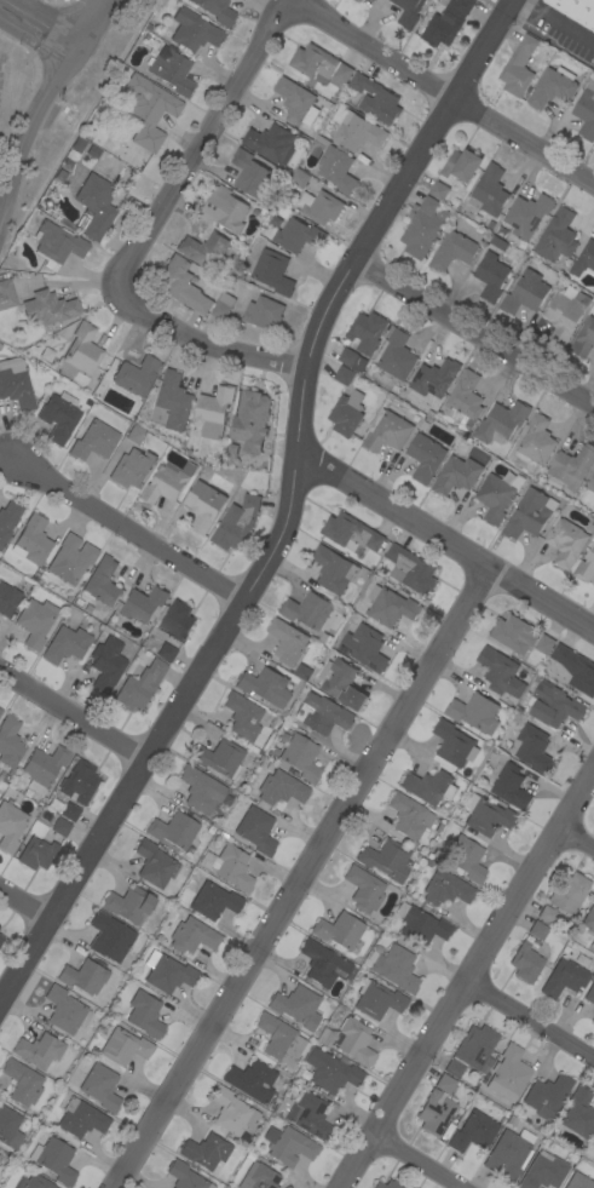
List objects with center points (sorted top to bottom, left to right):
building: (357, 0)
building: (576, 10)
building: (217, 11)
building: (408, 12)
road: (559, 21)
building: (445, 23)
road: (36, 25)
building: (194, 30)
building: (318, 64)
building: (518, 67)
building: (172, 71)
building: (552, 87)
road: (443, 92)
building: (375, 99)
building: (295, 101)
road: (41, 102)
building: (154, 102)
building: (586, 111)
building: (357, 132)
road: (198, 142)
building: (271, 143)
building: (75, 149)
building: (93, 151)
building: (336, 168)
building: (460, 168)
building: (249, 173)
building: (299, 178)
building: (438, 190)
building: (489, 191)
building: (94, 206)
building: (318, 206)
building: (224, 210)
building: (526, 214)
building: (421, 228)
building: (298, 235)
building: (556, 236)
building: (497, 242)
building: (57, 245)
building: (204, 249)
building: (452, 251)
building: (583, 259)
building: (272, 271)
building: (490, 276)
building: (184, 285)
building: (567, 289)
building: (525, 293)
building: (6, 294)
building: (221, 306)
building: (50, 308)
building: (263, 312)
building: (563, 317)
building: (367, 332)
road: (473, 333)
building: (583, 338)
road: (202, 340)
building: (0, 345)
building: (81, 351)
building: (397, 356)
building: (347, 357)
building: (137, 375)
building: (344, 375)
building: (434, 378)
building: (16, 384)
building: (463, 398)
building: (172, 402)
building: (213, 412)
building: (346, 413)
building: (59, 417)
building: (250, 420)
building: (501, 423)
building: (386, 431)
building: (135, 435)
building: (94, 441)
building: (536, 441)
building: (425, 457)
building: (572, 467)
building: (131, 469)
building: (456, 475)
building: (166, 483)
building: (590, 484)
building: (494, 498)
building: (593, 500)
building: (203, 505)
road: (286, 510)
building: (529, 513)
building: (8, 520)
building: (236, 523)
road: (126, 529)
building: (351, 533)
road: (444, 540)
building: (33, 541)
building: (565, 543)
building: (71, 559)
building: (584, 568)
building: (333, 569)
building: (410, 569)
building: (103, 582)
building: (7, 599)
building: (143, 604)
building: (385, 607)
building: (307, 610)
building: (178, 620)
building: (35, 622)
building: (514, 633)
building: (287, 642)
building: (67, 644)
building: (544, 644)
building: (364, 648)
building: (166, 653)
building: (106, 664)
building: (576, 668)
building: (302, 672)
building: (501, 672)
building: (341, 683)
building: (140, 685)
building: (265, 687)
building: (553, 705)
building: (0, 710)
building: (474, 712)
road: (71, 713)
building: (322, 714)
building: (242, 717)
building: (10, 744)
building: (454, 745)
building: (531, 748)
building: (220, 758)
building: (301, 758)
building: (44, 768)
building: (79, 781)
building: (511, 786)
building: (428, 787)
building: (282, 788)
building: (201, 790)
building: (70, 811)
building: (488, 816)
building: (408, 820)
building: (10, 826)
building: (60, 827)
building: (174, 830)
building: (256, 831)
road: (577, 838)
building: (38, 854)
building: (467, 859)
building: (386, 860)
building: (155, 865)
building: (232, 868)
road: (298, 877)
building: (364, 889)
building: (446, 889)
building: (569, 891)
building: (212, 899)
road: (24, 902)
building: (129, 903)
building: (547, 914)
building: (589, 919)
building: (420, 925)
building: (339, 930)
building: (538, 930)
building: (192, 936)
building: (110, 937)
building: (1, 939)
building: (526, 963)
building: (323, 964)
building: (396, 968)
building: (168, 972)
building: (83, 974)
building: (564, 978)
road: (468, 980)
building: (589, 994)
building: (379, 1000)
building: (298, 1006)
building: (65, 1010)
building: (145, 1015)
road: (531, 1020)
building: (592, 1020)
building: (282, 1040)
building: (350, 1040)
building: (123, 1046)
building: (39, 1050)
building: (472, 1052)
building: (331, 1073)
building: (509, 1074)
building: (252, 1081)
building: (22, 1083)
building: (445, 1084)
building: (100, 1087)
building: (547, 1096)
building: (232, 1112)
building: (434, 1113)
building: (579, 1113)
building: (306, 1114)
building: (80, 1118)
building: (512, 1121)
building: (10, 1129)
building: (473, 1132)
building: (65, 1137)
building: (593, 1142)
building: (289, 1146)
building: (206, 1152)
building: (508, 1155)
building: (54, 1160)
road: (419, 1161)
building: (543, 1172)
building: (185, 1176)
building: (260, 1178)
building: (35, 1182)
building: (579, 1182)
building: (387, 1184)

